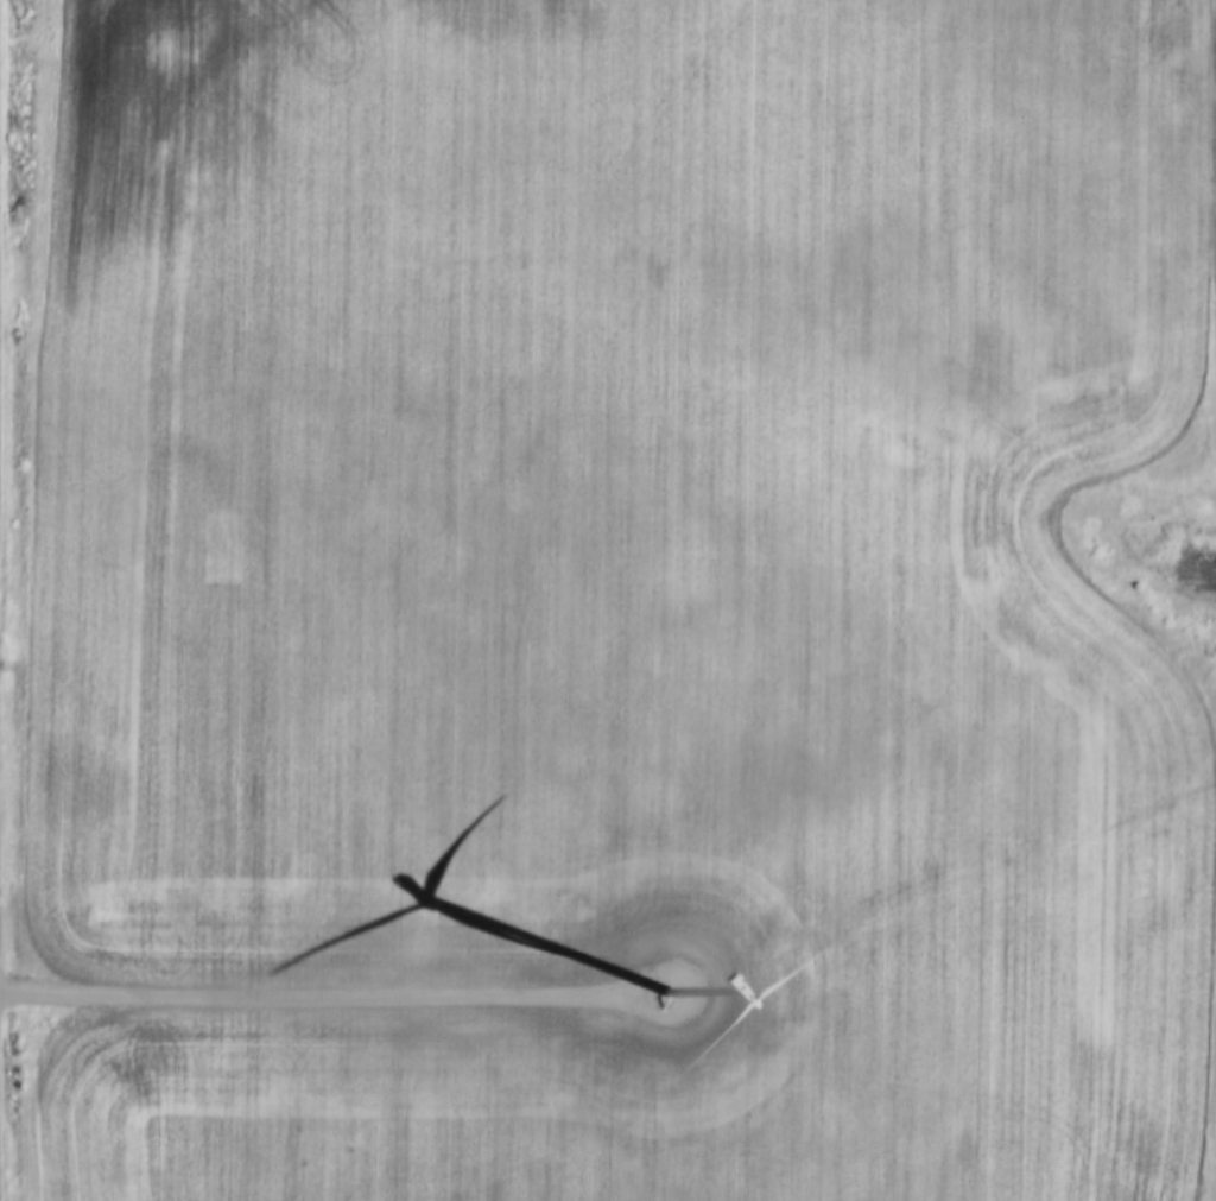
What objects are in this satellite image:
wind turbine: (659, 986)

